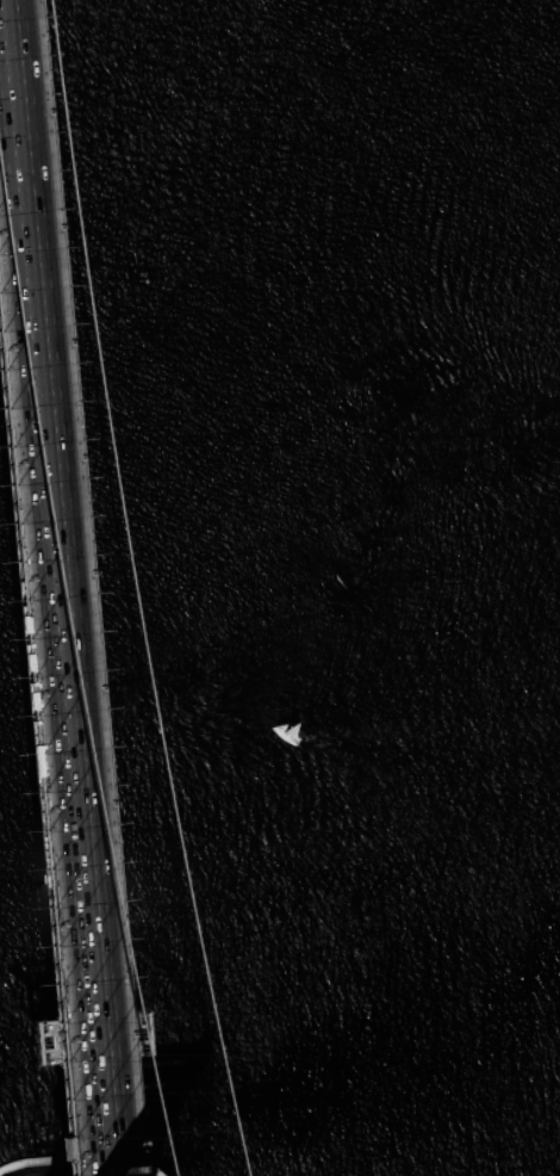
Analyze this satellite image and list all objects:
road: (5, 198)
road: (52, 713)
road: (37, 767)
road: (26, 887)
road: (17, 991)

